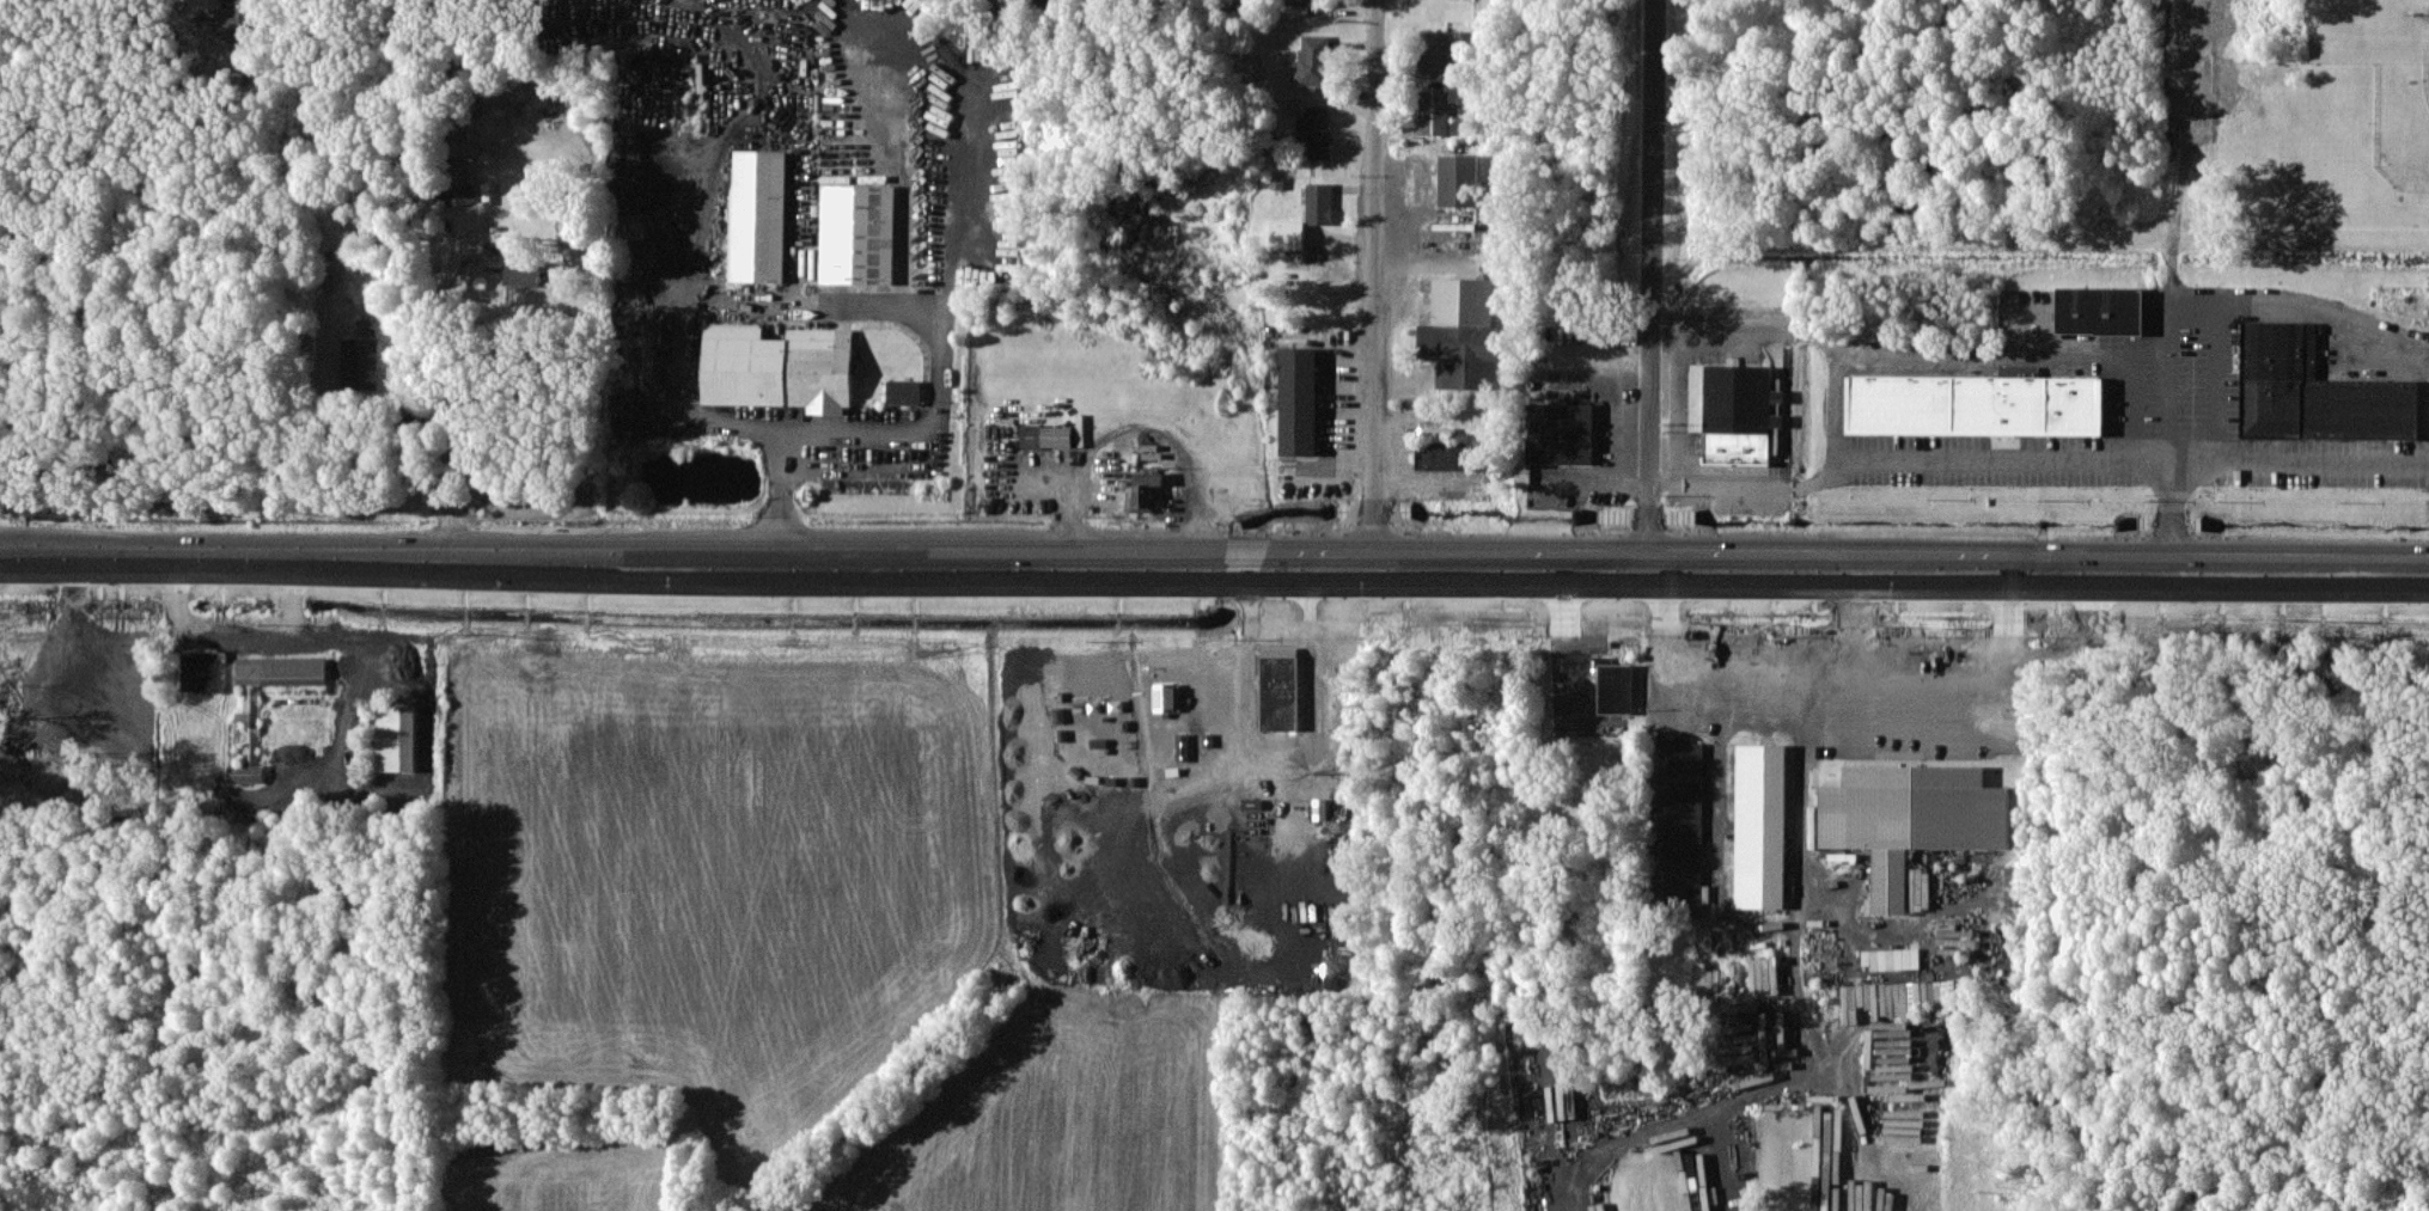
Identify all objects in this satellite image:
building: (1049, 2)
building: (1304, 2)
road: (1131, 5)
building: (236, 18)
building: (1440, 49)
building: (1313, 60)
building: (1433, 111)
road: (807, 128)
building: (1318, 132)
building: (460, 141)
building: (1458, 179)
building: (454, 182)
road: (971, 196)
building: (1319, 203)
building: (757, 215)
road: (801, 216)
building: (856, 233)
building: (1287, 234)
building: (523, 273)
road: (1373, 280)
road: (1654, 280)
road: (775, 305)
building: (2099, 310)
building: (1461, 332)
road: (2061, 351)
building: (360, 362)
building: (777, 367)
road: (2219, 383)
building: (903, 391)
building: (2314, 391)
road: (443, 397)
building: (1298, 400)
building: (1976, 404)
road: (1841, 405)
building: (1740, 415)
building: (1560, 433)
building: (1045, 435)
road: (1172, 438)
road: (344, 439)
building: (1442, 454)
road: (2019, 459)
road: (883, 472)
building: (1522, 473)
road: (1070, 481)
road: (1593, 482)
building: (1145, 489)
road: (2168, 510)
road: (178, 545)
road: (1393, 559)
road: (178, 568)
road: (1562, 618)
road: (1978, 660)
road: (1769, 666)
building: (280, 669)
building: (201, 671)
building: (1278, 687)
building: (1615, 689)
building: (1165, 697)
building: (396, 738)
building: (249, 740)
road: (1721, 772)
building: (1910, 818)
building: (1759, 826)
building: (1676, 828)
road: (1801, 848)
building: (2014, 886)
building: (1891, 959)

